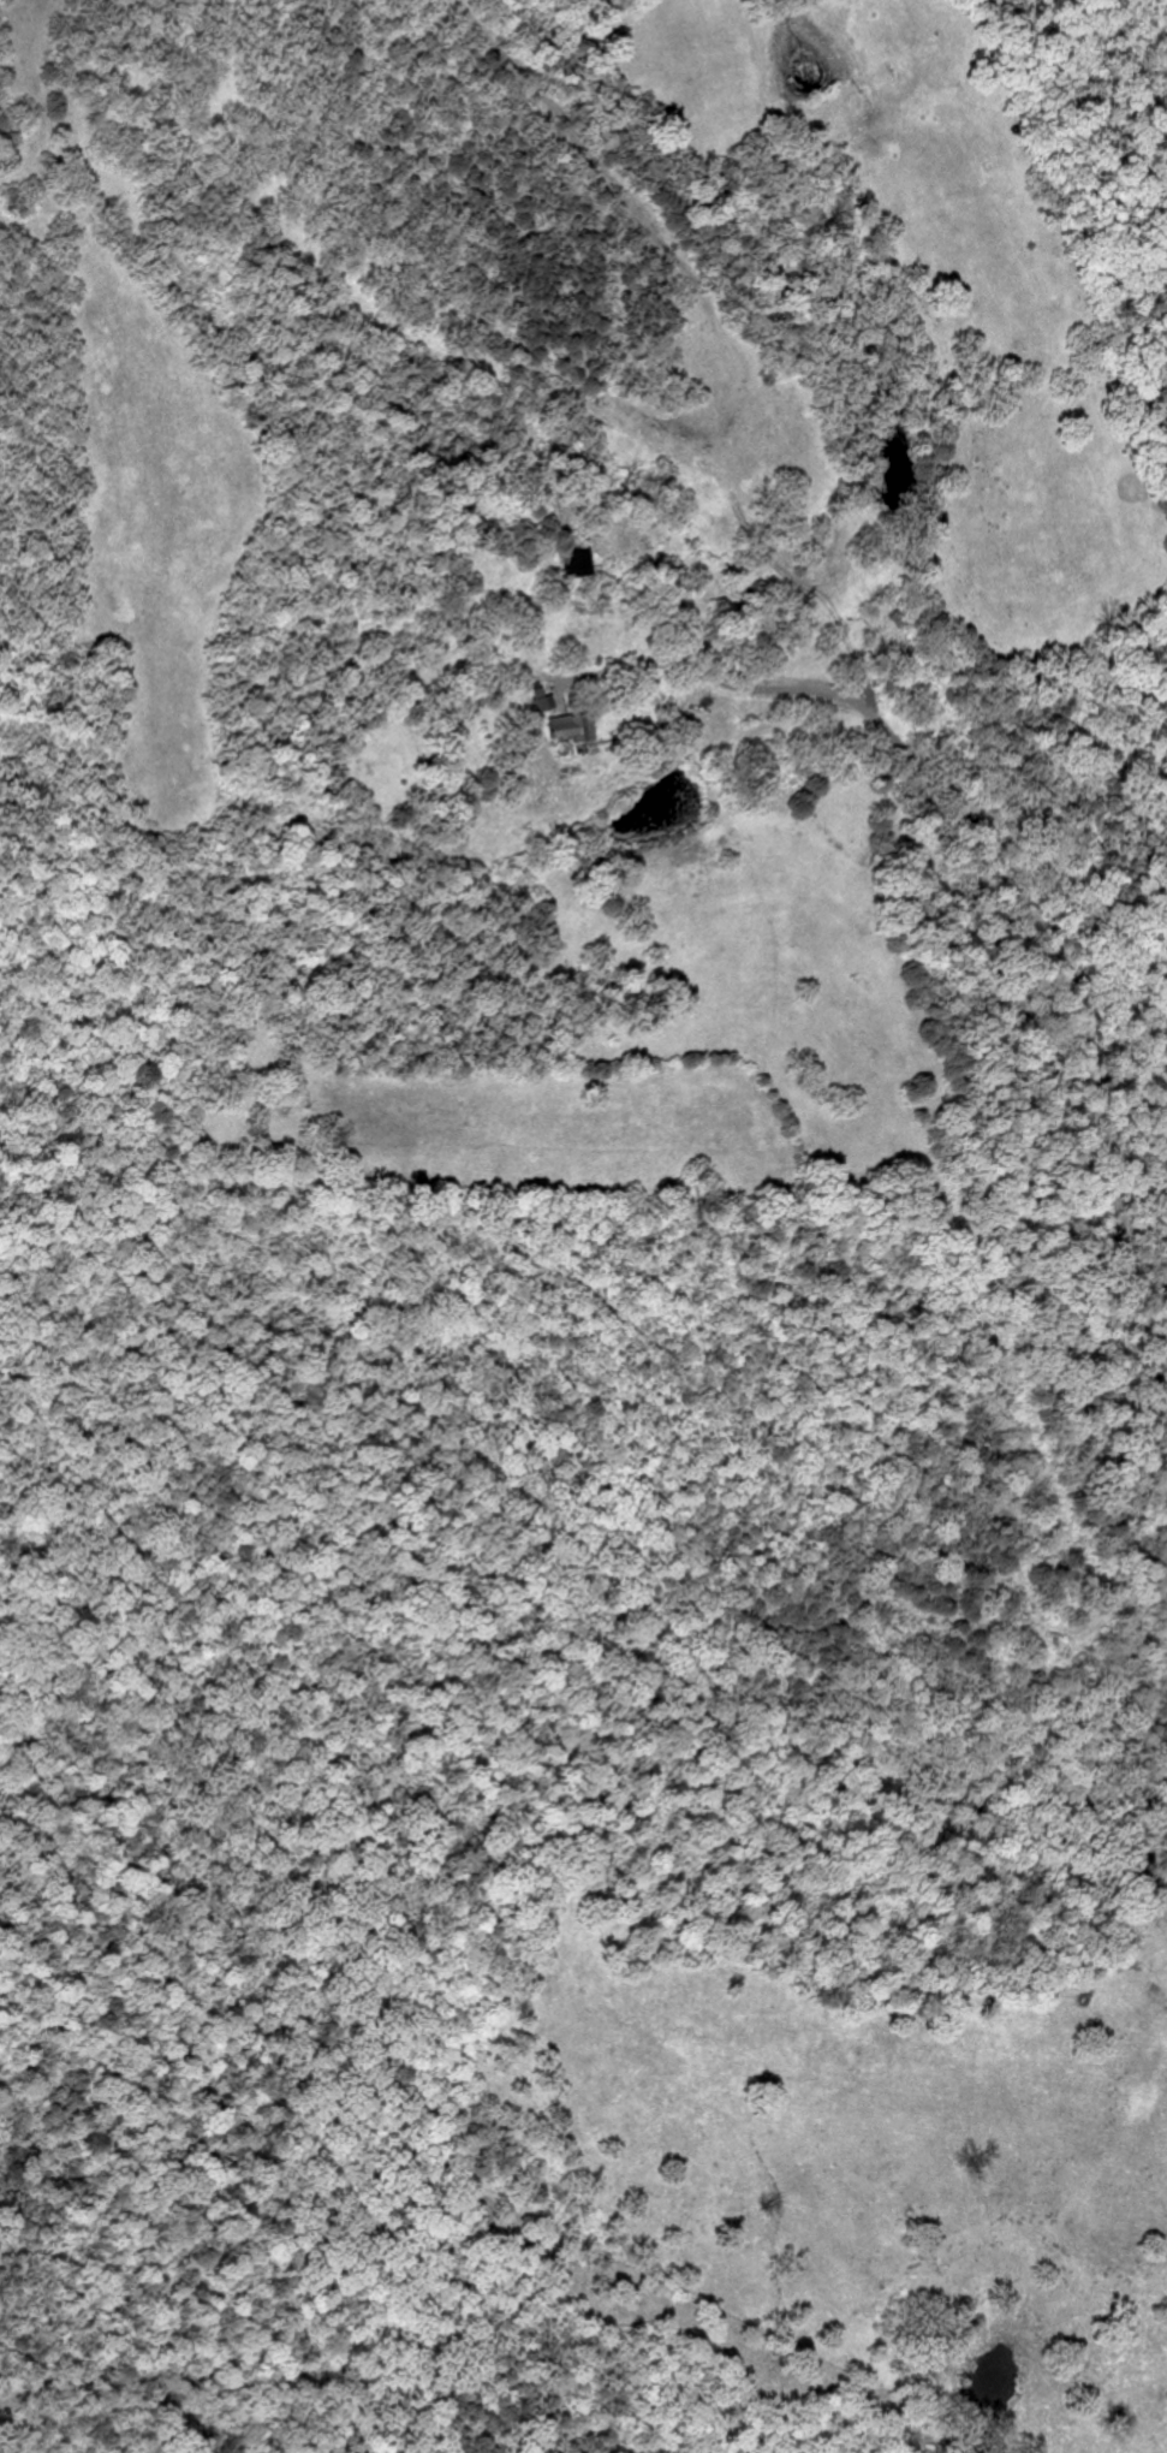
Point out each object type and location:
road: (964, 890)

